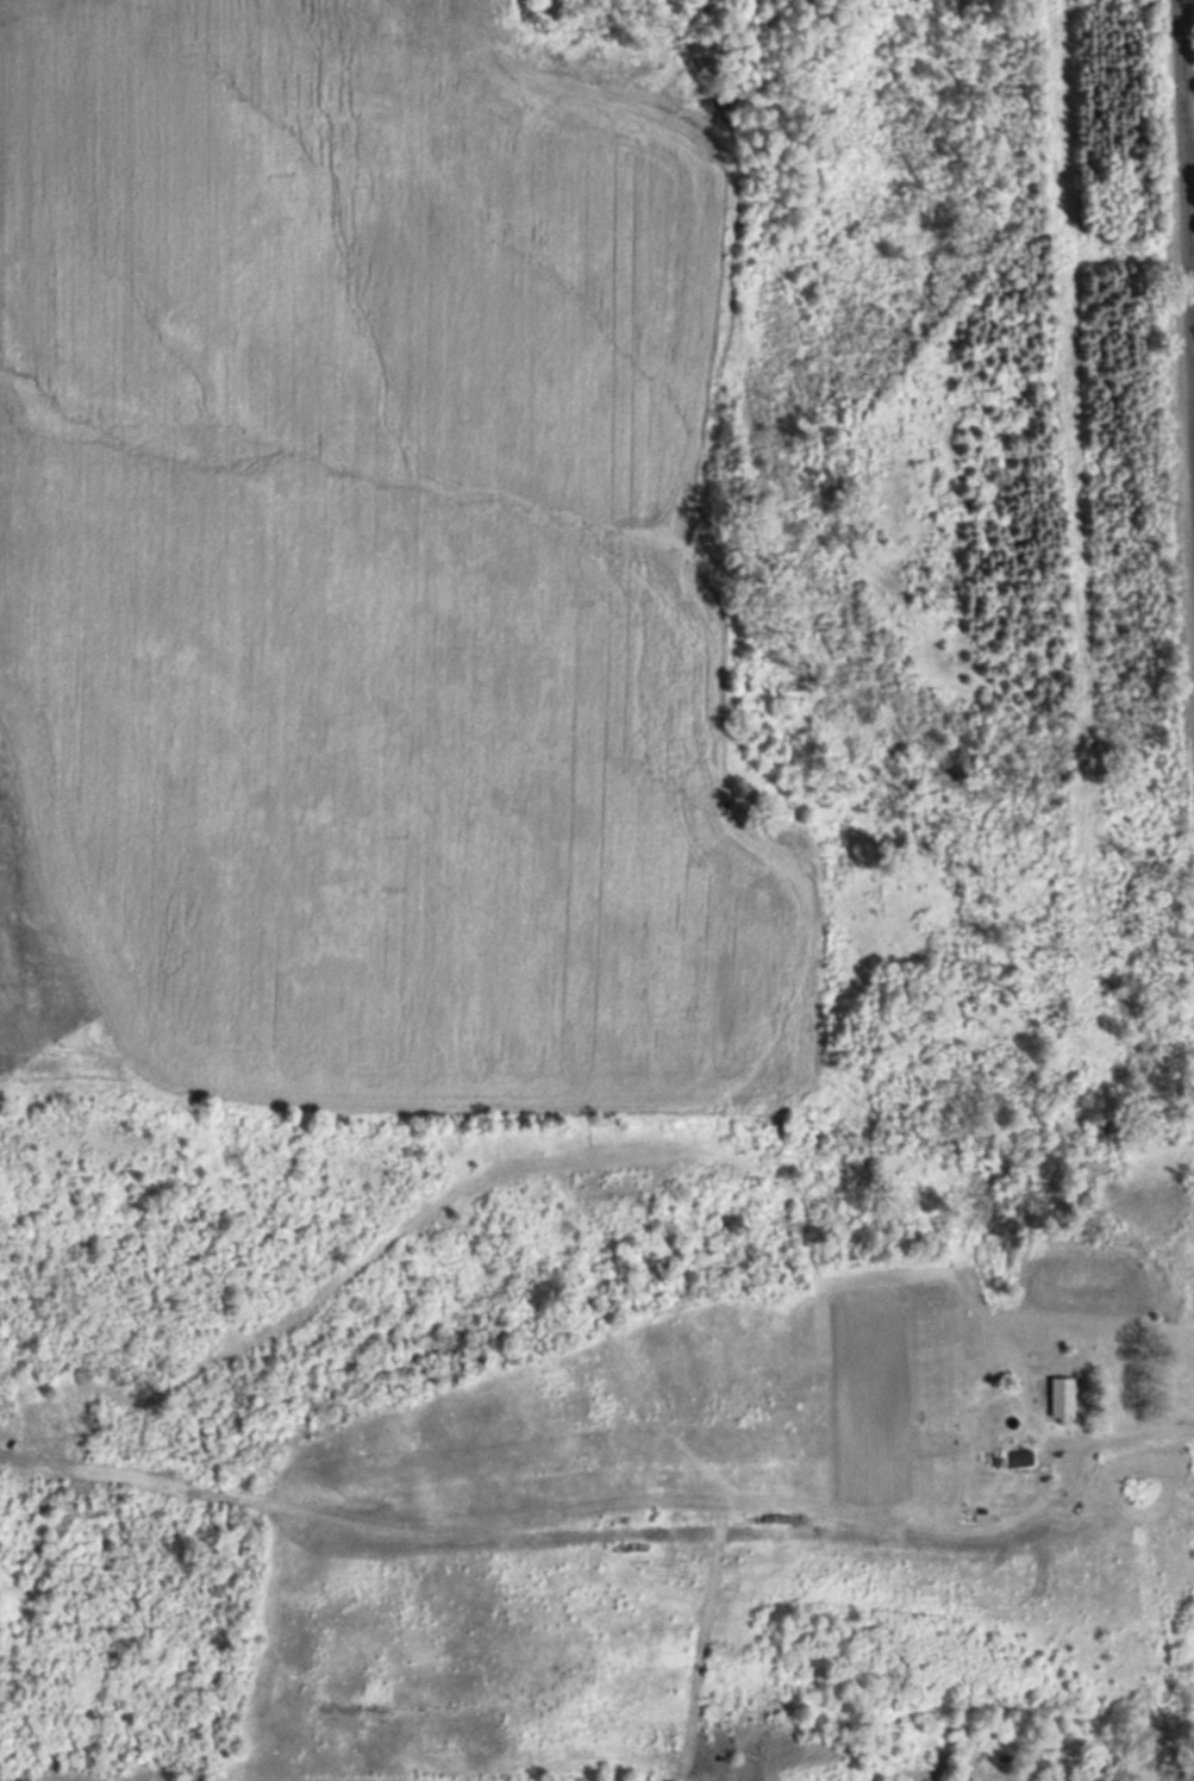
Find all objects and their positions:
road: (1186, 185)
building: (1061, 1398)
road: (1119, 1433)
building: (1018, 1456)

